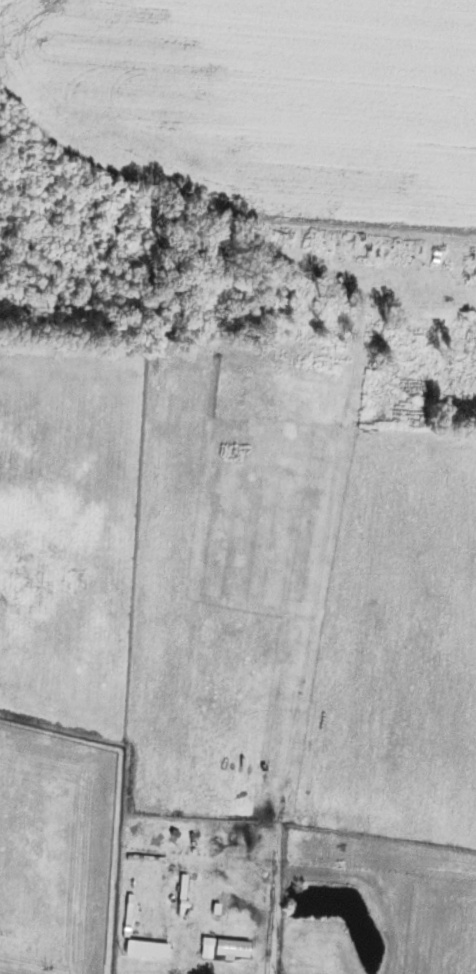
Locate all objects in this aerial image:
building: (232, 947)
building: (150, 948)

